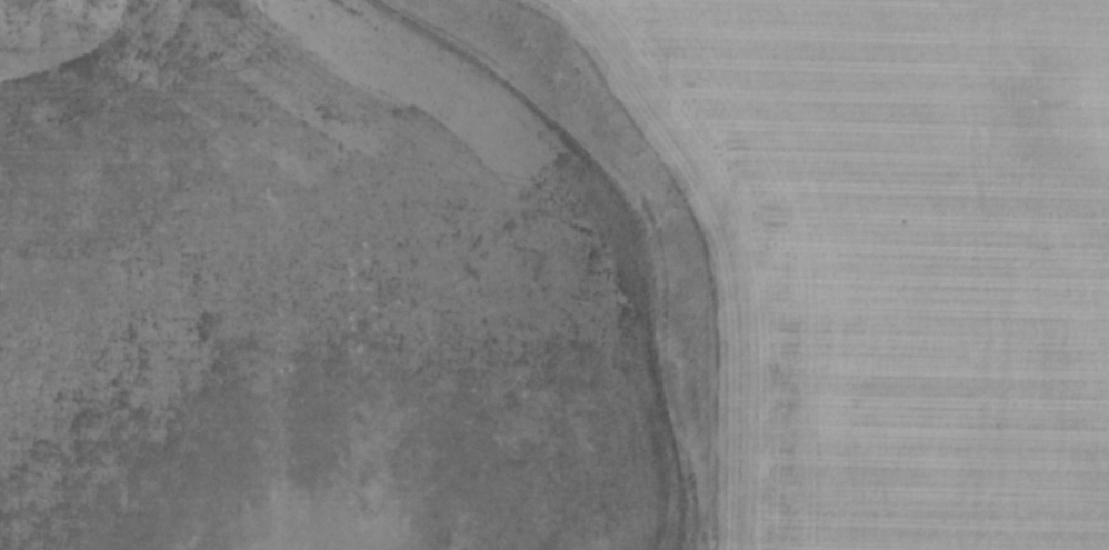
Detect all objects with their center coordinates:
crop: (554, 274)

